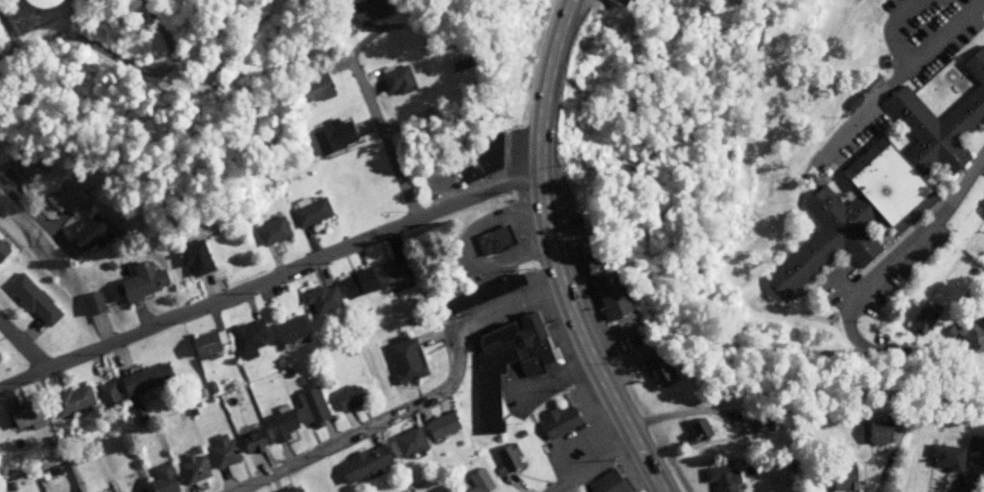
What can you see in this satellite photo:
building: (28, 2)
building: (362, 10)
building: (621, 13)
road: (892, 29)
road: (119, 71)
parking lot: (899, 71)
road: (897, 76)
building: (393, 78)
building: (868, 81)
building: (313, 88)
building: (849, 100)
building: (331, 135)
road: (383, 140)
building: (473, 148)
building: (27, 164)
building: (886, 178)
road: (544, 180)
building: (63, 198)
road: (32, 212)
building: (307, 212)
road: (922, 222)
building: (269, 230)
building: (492, 239)
building: (2, 250)
building: (982, 254)
building: (190, 257)
parking lot: (885, 264)
road: (297, 269)
building: (974, 269)
building: (390, 272)
building: (599, 278)
building: (138, 281)
building: (355, 282)
building: (476, 294)
building: (319, 298)
building: (31, 299)
building: (90, 302)
building: (958, 312)
building: (979, 312)
building: (922, 318)
building: (287, 328)
building: (968, 332)
building: (245, 336)
building: (529, 340)
road: (24, 343)
building: (201, 343)
road: (893, 353)
building: (402, 359)
parking lot: (573, 359)
building: (655, 370)
building: (488, 376)
building: (144, 377)
road: (24, 380)
road: (543, 382)
building: (106, 392)
building: (343, 397)
building: (69, 400)
road: (433, 405)
building: (294, 413)
building: (23, 416)
building: (759, 420)
building: (557, 421)
building: (438, 425)
road: (625, 425)
building: (694, 428)
building: (873, 429)
building: (0, 433)
building: (250, 440)
building: (405, 441)
building: (219, 451)
building: (955, 455)
building: (507, 457)
building: (361, 462)
building: (790, 462)
road: (597, 466)
building: (190, 467)
building: (719, 476)
building: (840, 477)
building: (159, 479)
building: (605, 482)
building: (474, 483)
road: (950, 487)
building: (289, 489)
building: (136, 490)

